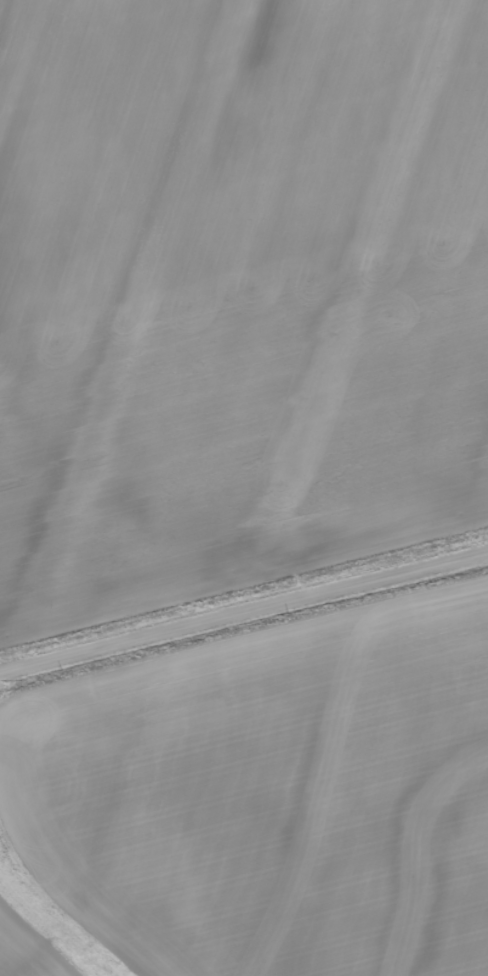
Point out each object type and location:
road: (244, 615)

